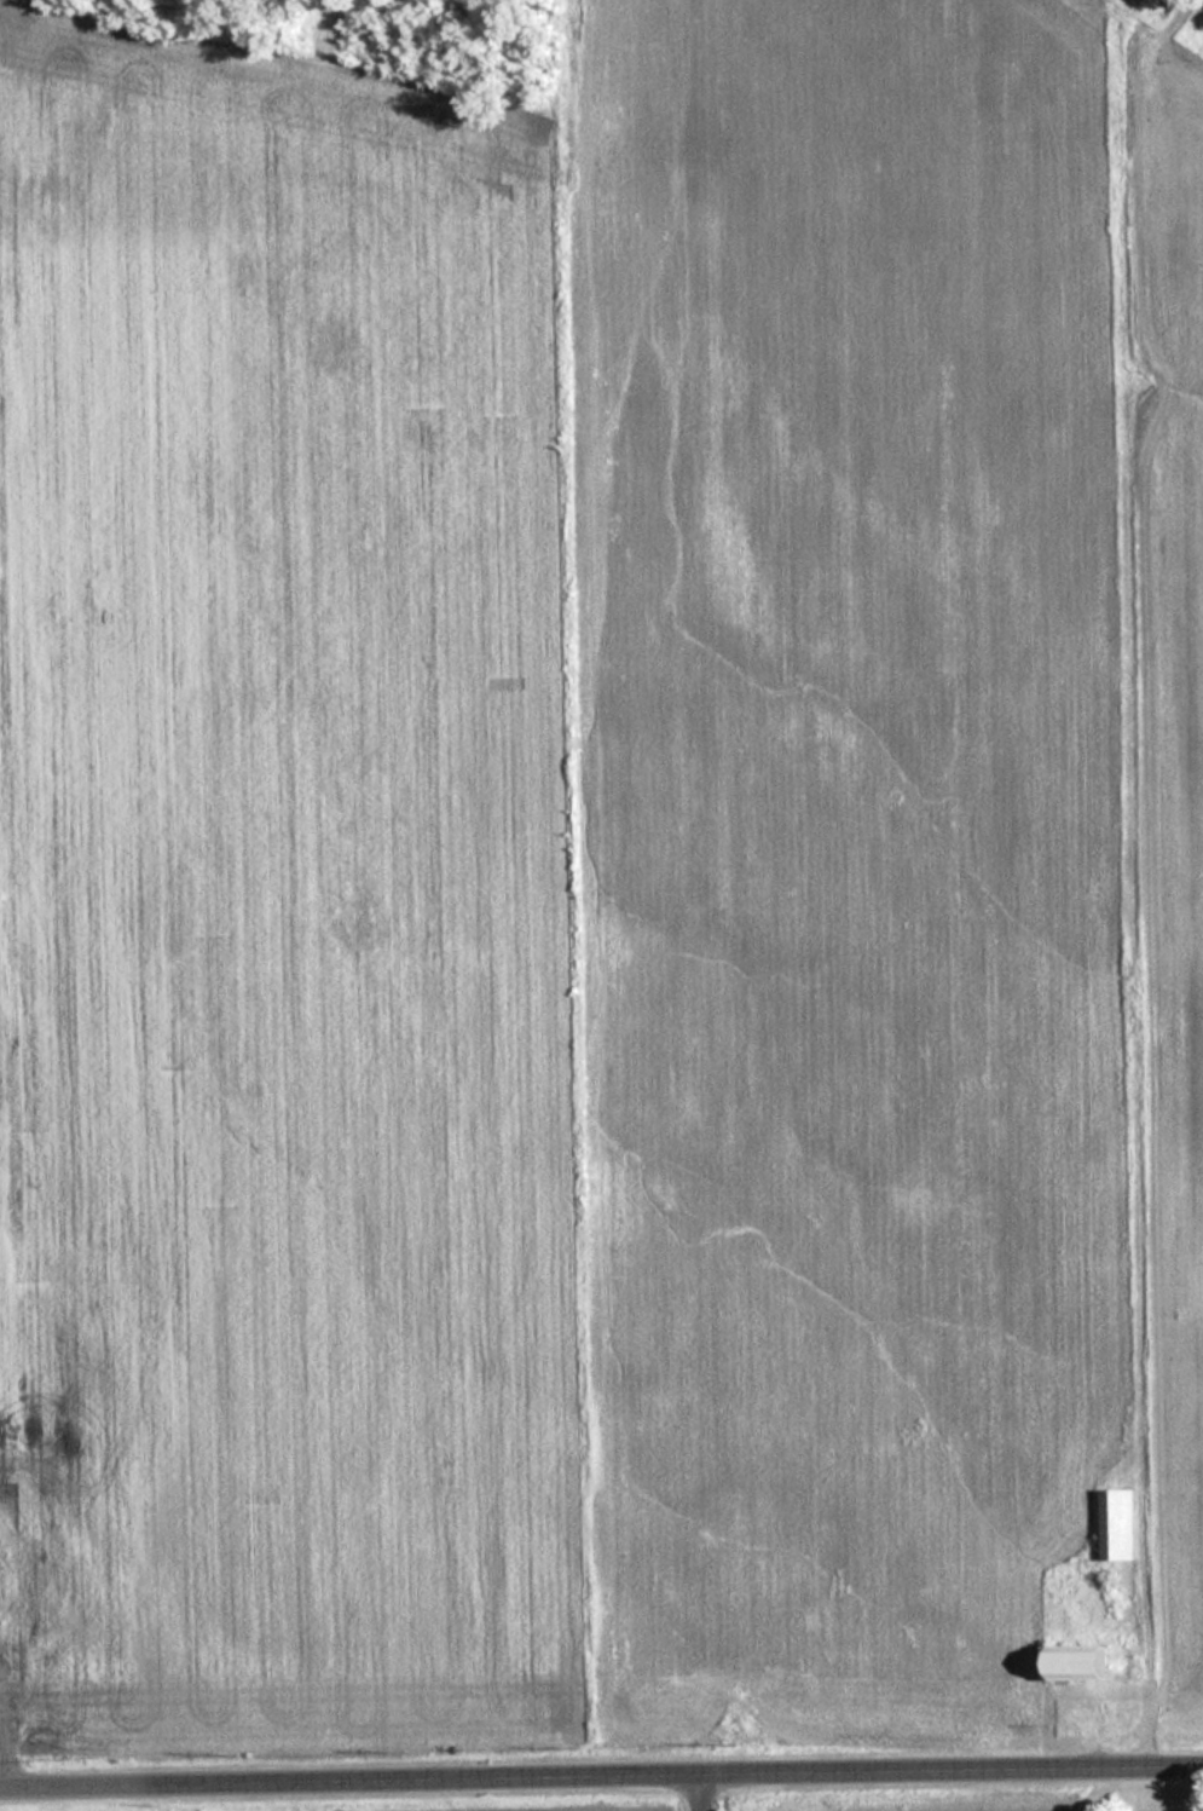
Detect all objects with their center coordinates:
building: (1114, 1524)
building: (57, 1581)
building: (1075, 1663)
road: (601, 1778)
road: (702, 1794)

